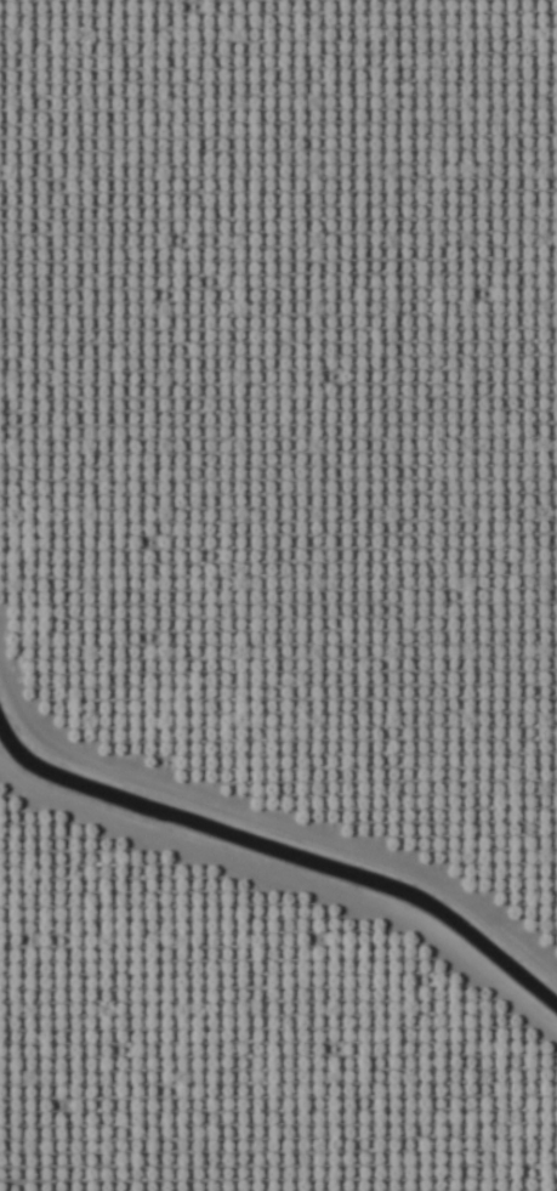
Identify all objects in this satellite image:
crop: (278, 595)

